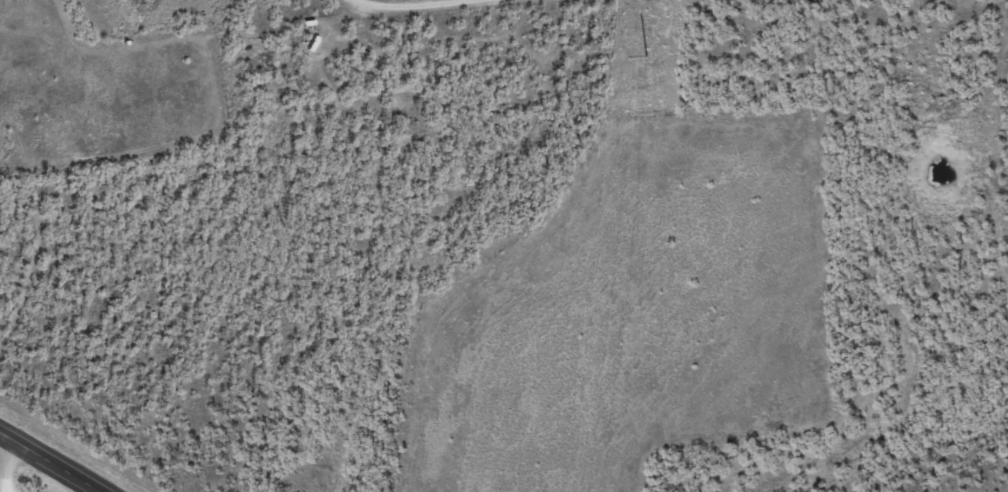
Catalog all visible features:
power tower: (650, 58)
road: (423, 156)
road: (48, 462)
road: (10, 465)

